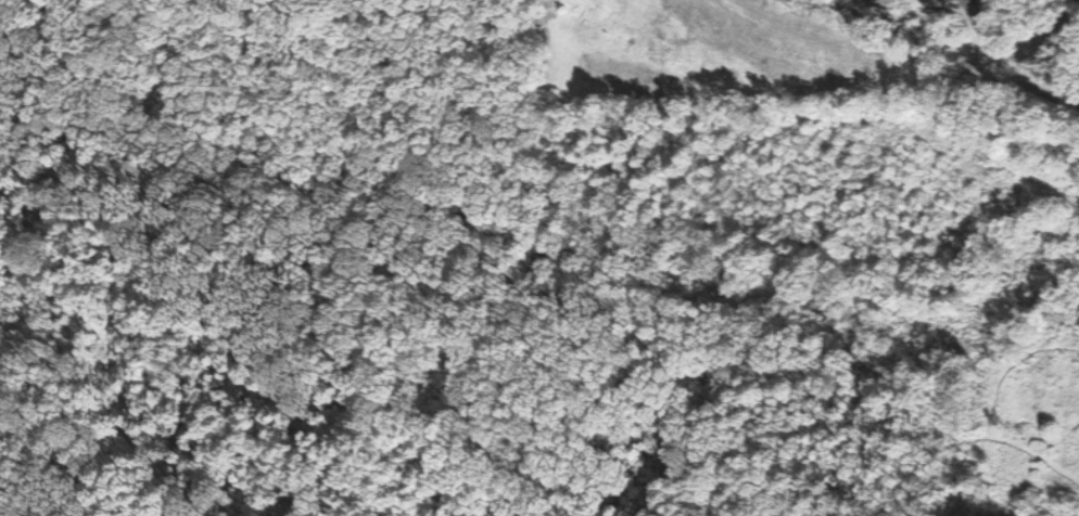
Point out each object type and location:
road: (1078, 0)
road: (1010, 60)

